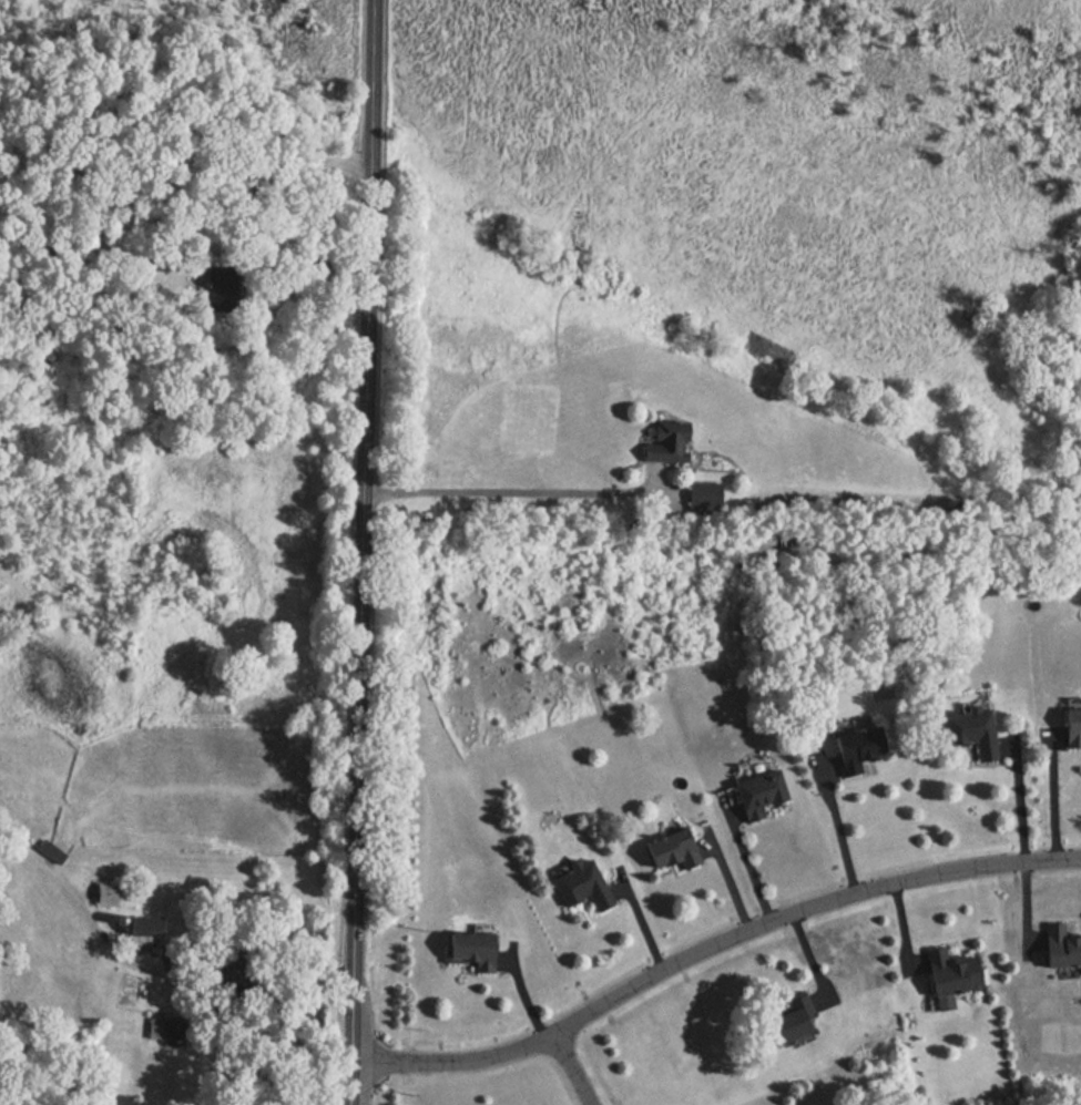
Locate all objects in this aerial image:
road: (187, 114)
building: (661, 440)
road: (508, 490)
road: (360, 552)
building: (1069, 729)
building: (968, 733)
building: (855, 748)
building: (756, 795)
road: (1053, 799)
road: (1019, 801)
road: (843, 837)
building: (667, 851)
road: (749, 869)
building: (579, 888)
building: (112, 893)
building: (137, 928)
building: (1059, 942)
building: (467, 949)
road: (710, 951)
building: (952, 966)
road: (180, 969)
building: (784, 1017)
road: (577, 1067)

